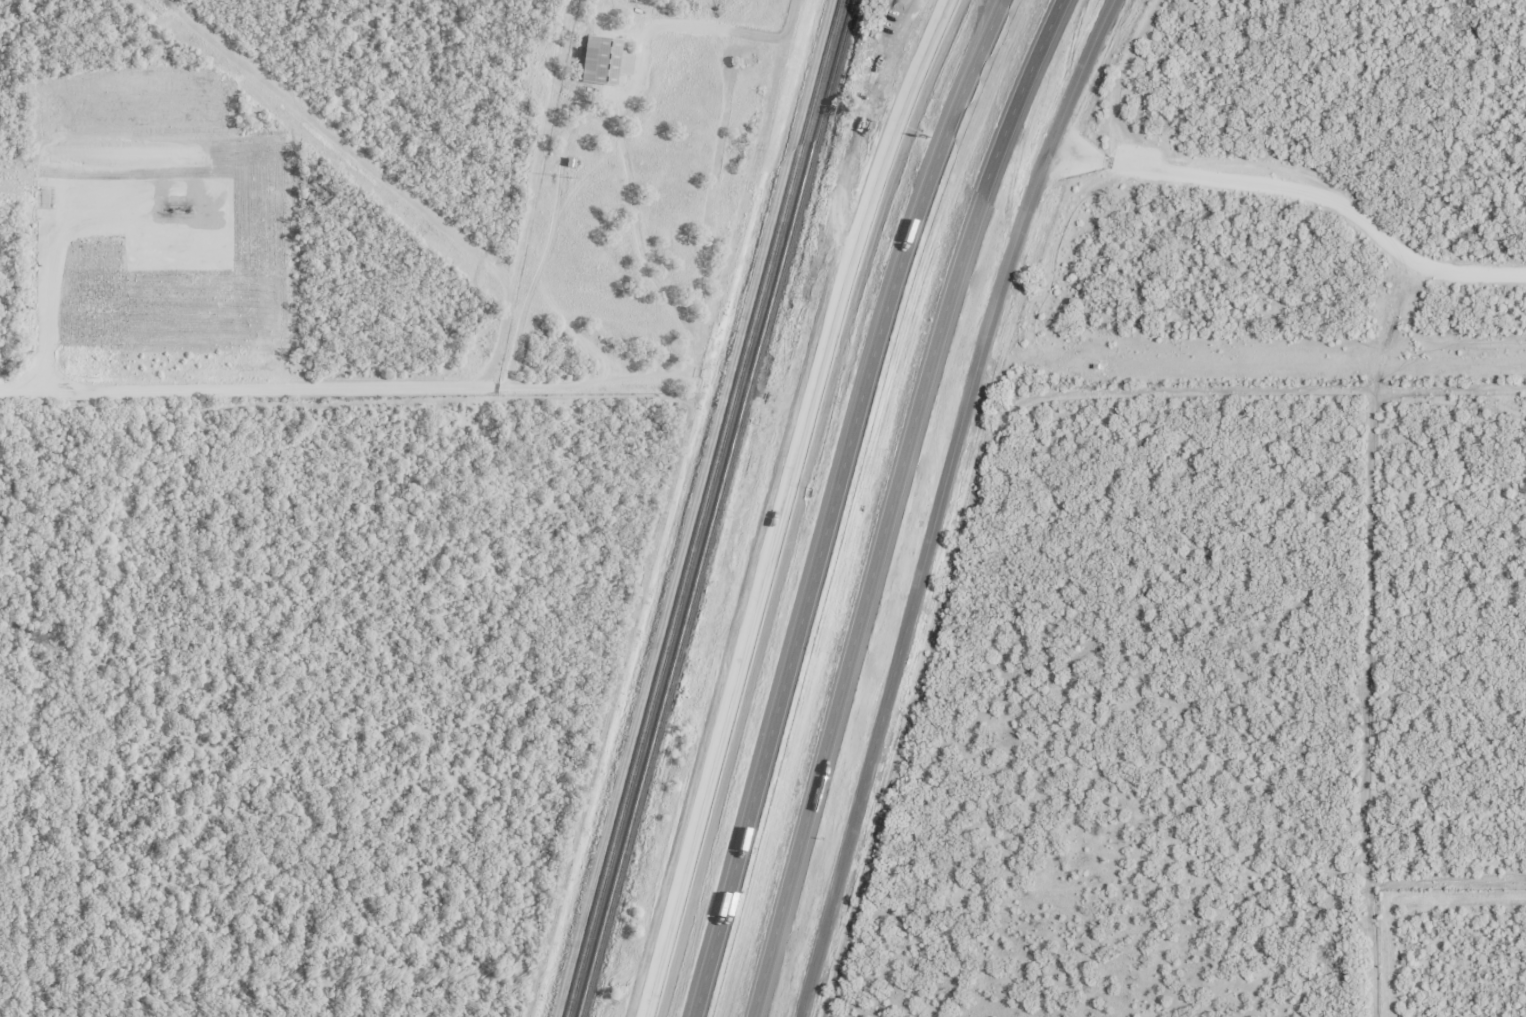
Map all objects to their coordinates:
building: (600, 59)
road: (1302, 177)
road: (891, 502)
road: (940, 502)
road: (782, 503)
road: (832, 503)
railway: (714, 508)

